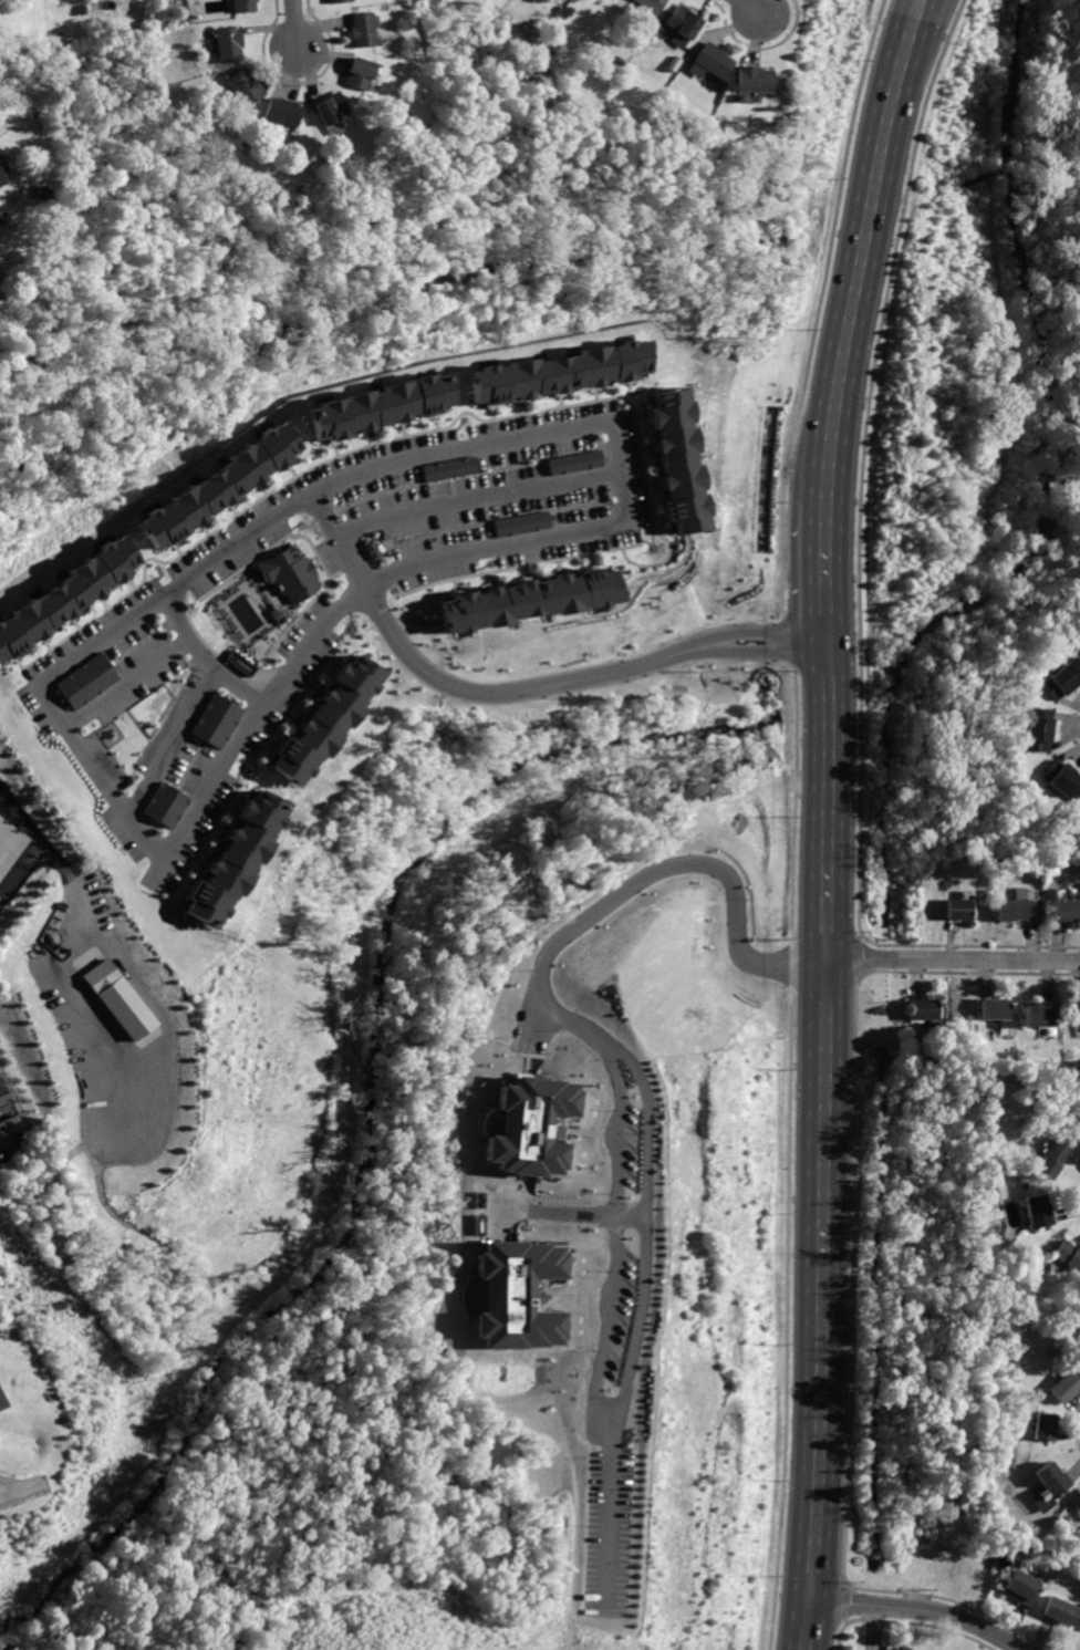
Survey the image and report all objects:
building: (341, 1)
building: (243, 4)
building: (651, 6)
road: (751, 7)
road: (297, 24)
building: (684, 25)
building: (363, 29)
building: (228, 42)
building: (713, 63)
building: (359, 74)
building: (754, 80)
building: (245, 86)
building: (330, 108)
building: (282, 112)
building: (1, 181)
building: (40, 190)
building: (0, 217)
road: (859, 234)
building: (551, 371)
building: (375, 403)
building: (575, 460)
building: (677, 460)
building: (449, 468)
building: (212, 482)
road: (478, 497)
building: (522, 523)
building: (375, 549)
road: (827, 549)
road: (220, 557)
building: (293, 573)
building: (48, 595)
building: (530, 599)
road: (760, 630)
road: (761, 651)
road: (204, 657)
building: (87, 679)
building: (1060, 679)
road: (131, 684)
road: (458, 687)
building: (321, 719)
building: (217, 720)
building: (1037, 729)
road: (175, 744)
building: (1062, 780)
building: (167, 803)
building: (9, 849)
road: (38, 849)
building: (233, 858)
road: (644, 871)
building: (1018, 910)
building: (960, 911)
building: (1066, 911)
road: (76, 954)
road: (953, 959)
building: (97, 978)
building: (995, 1010)
building: (1076, 1010)
building: (922, 1011)
building: (1040, 1014)
building: (530, 1122)
building: (1079, 1131)
road: (823, 1138)
building: (1052, 1159)
road: (565, 1211)
building: (1038, 1211)
road: (642, 1227)
road: (611, 1236)
building: (1067, 1254)
building: (512, 1293)
building: (1065, 1387)
building: (0, 1405)
building: (0, 1408)
building: (1045, 1428)
building: (1053, 1480)
road: (605, 1507)
building: (1025, 1589)
road: (922, 1610)
building: (1063, 1610)
building: (899, 1649)

